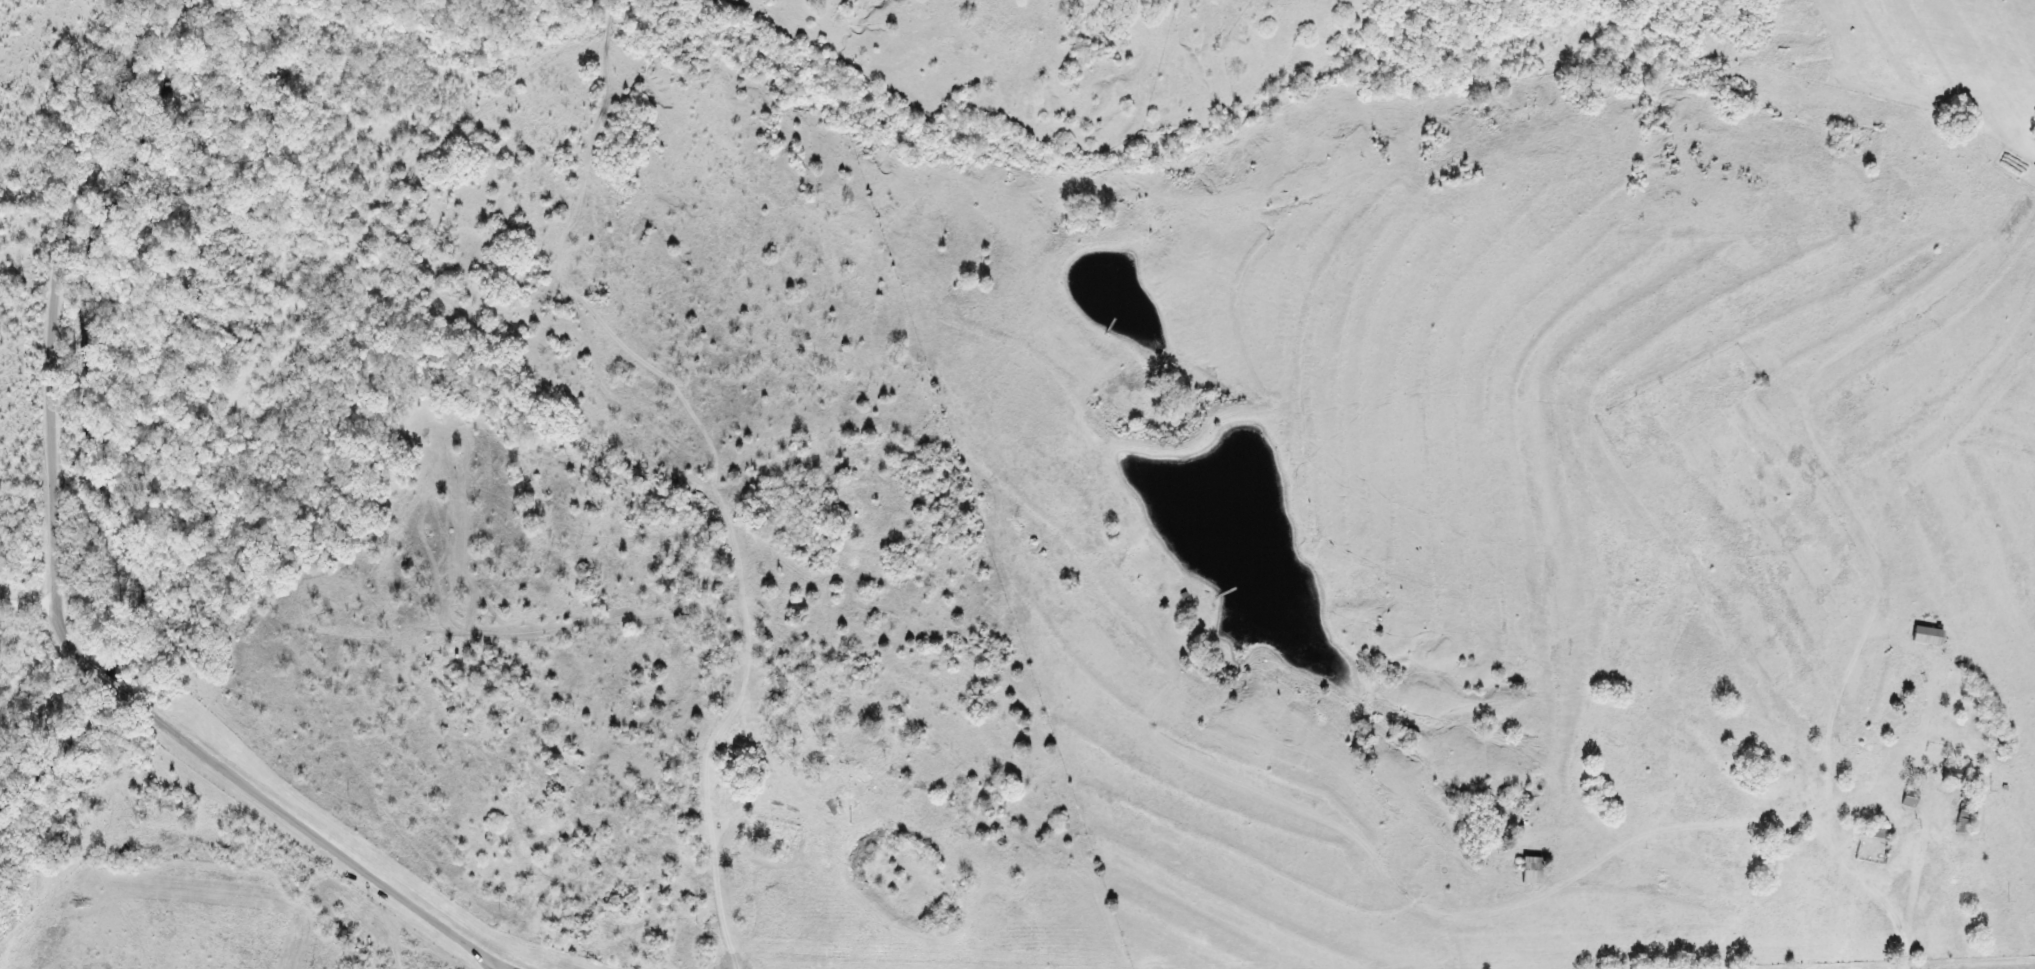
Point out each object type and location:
road: (61, 595)
road: (31, 603)
building: (1928, 634)
building: (1954, 773)
building: (1910, 797)
building: (1532, 869)
road: (525, 968)

